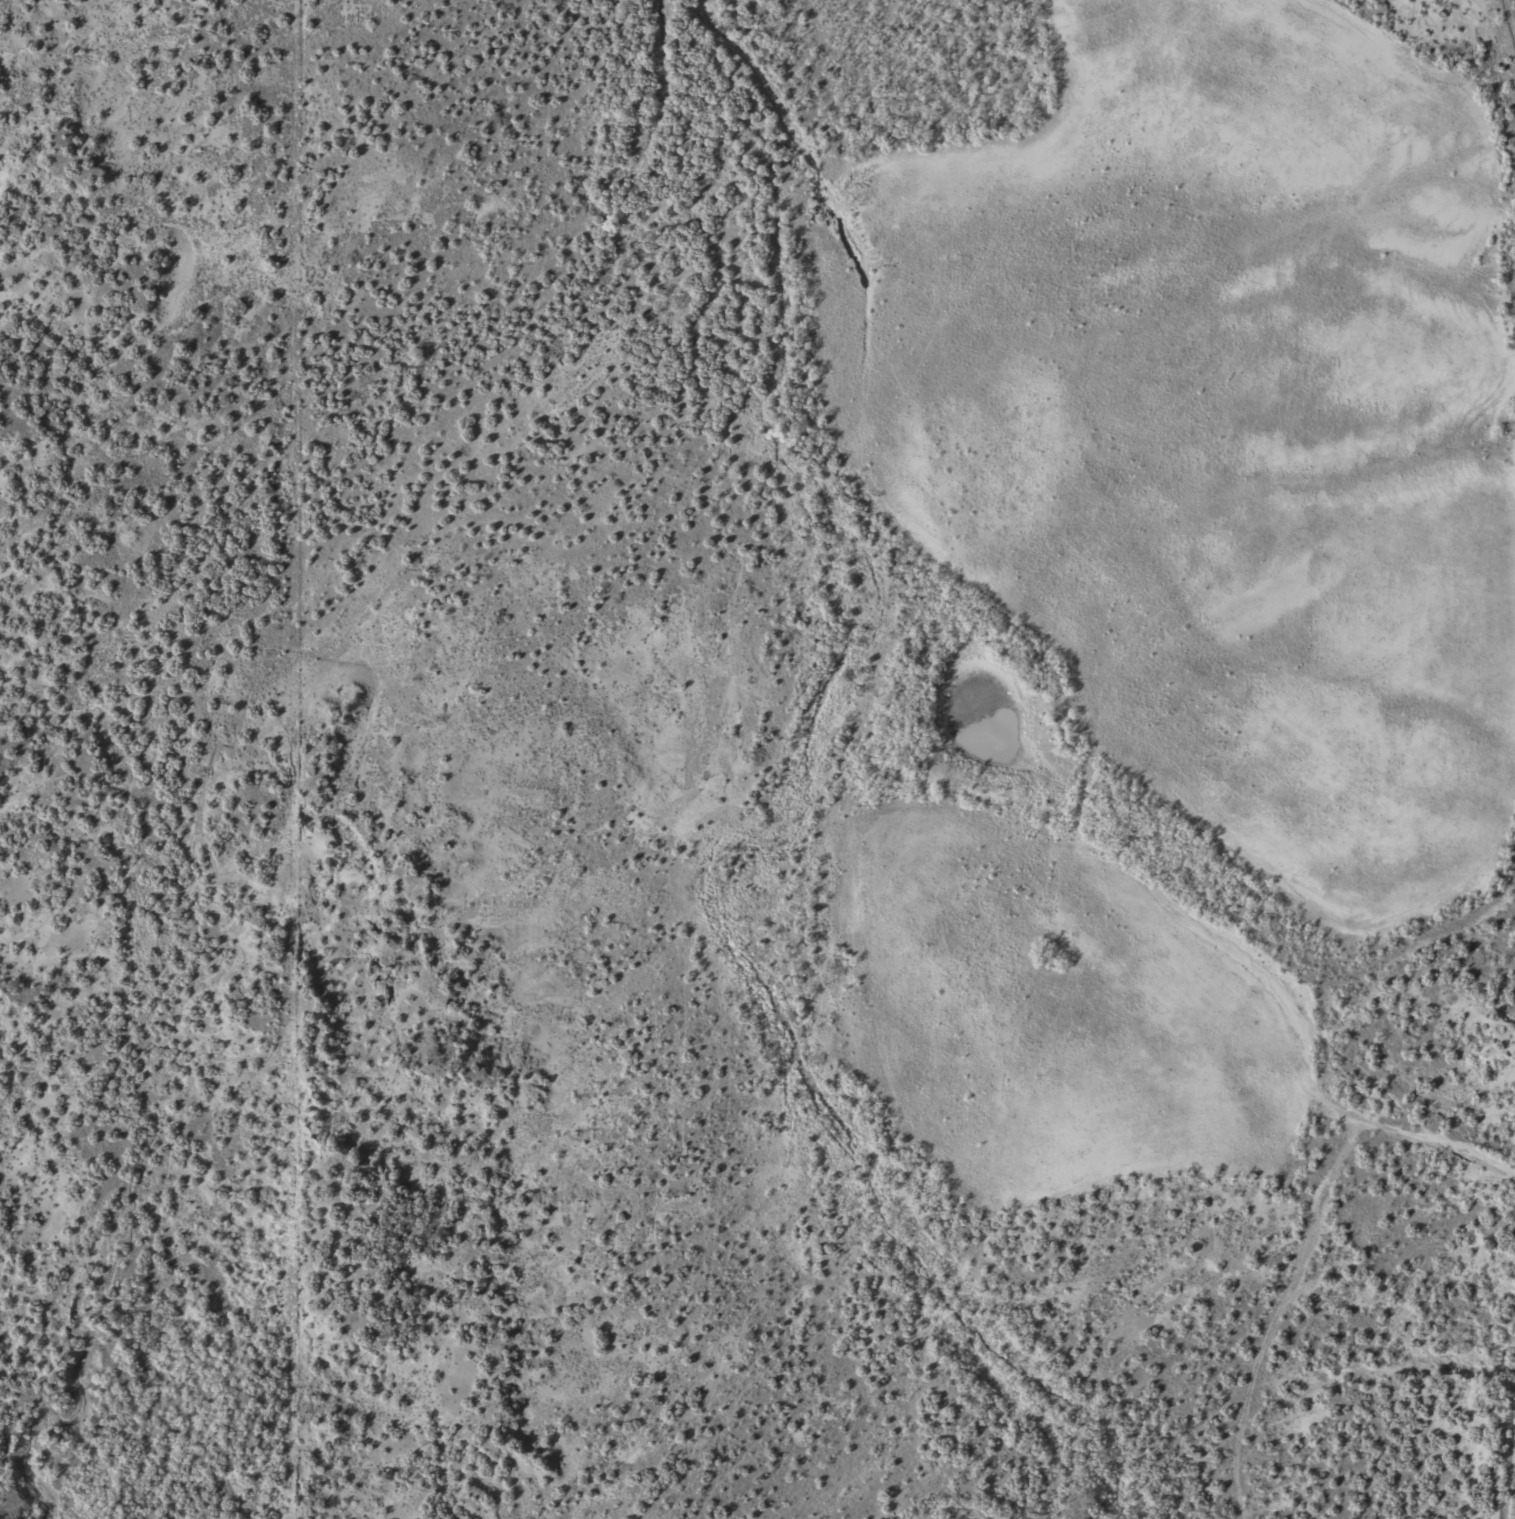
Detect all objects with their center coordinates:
railway: (1508, 23)
railway: (1512, 1490)

